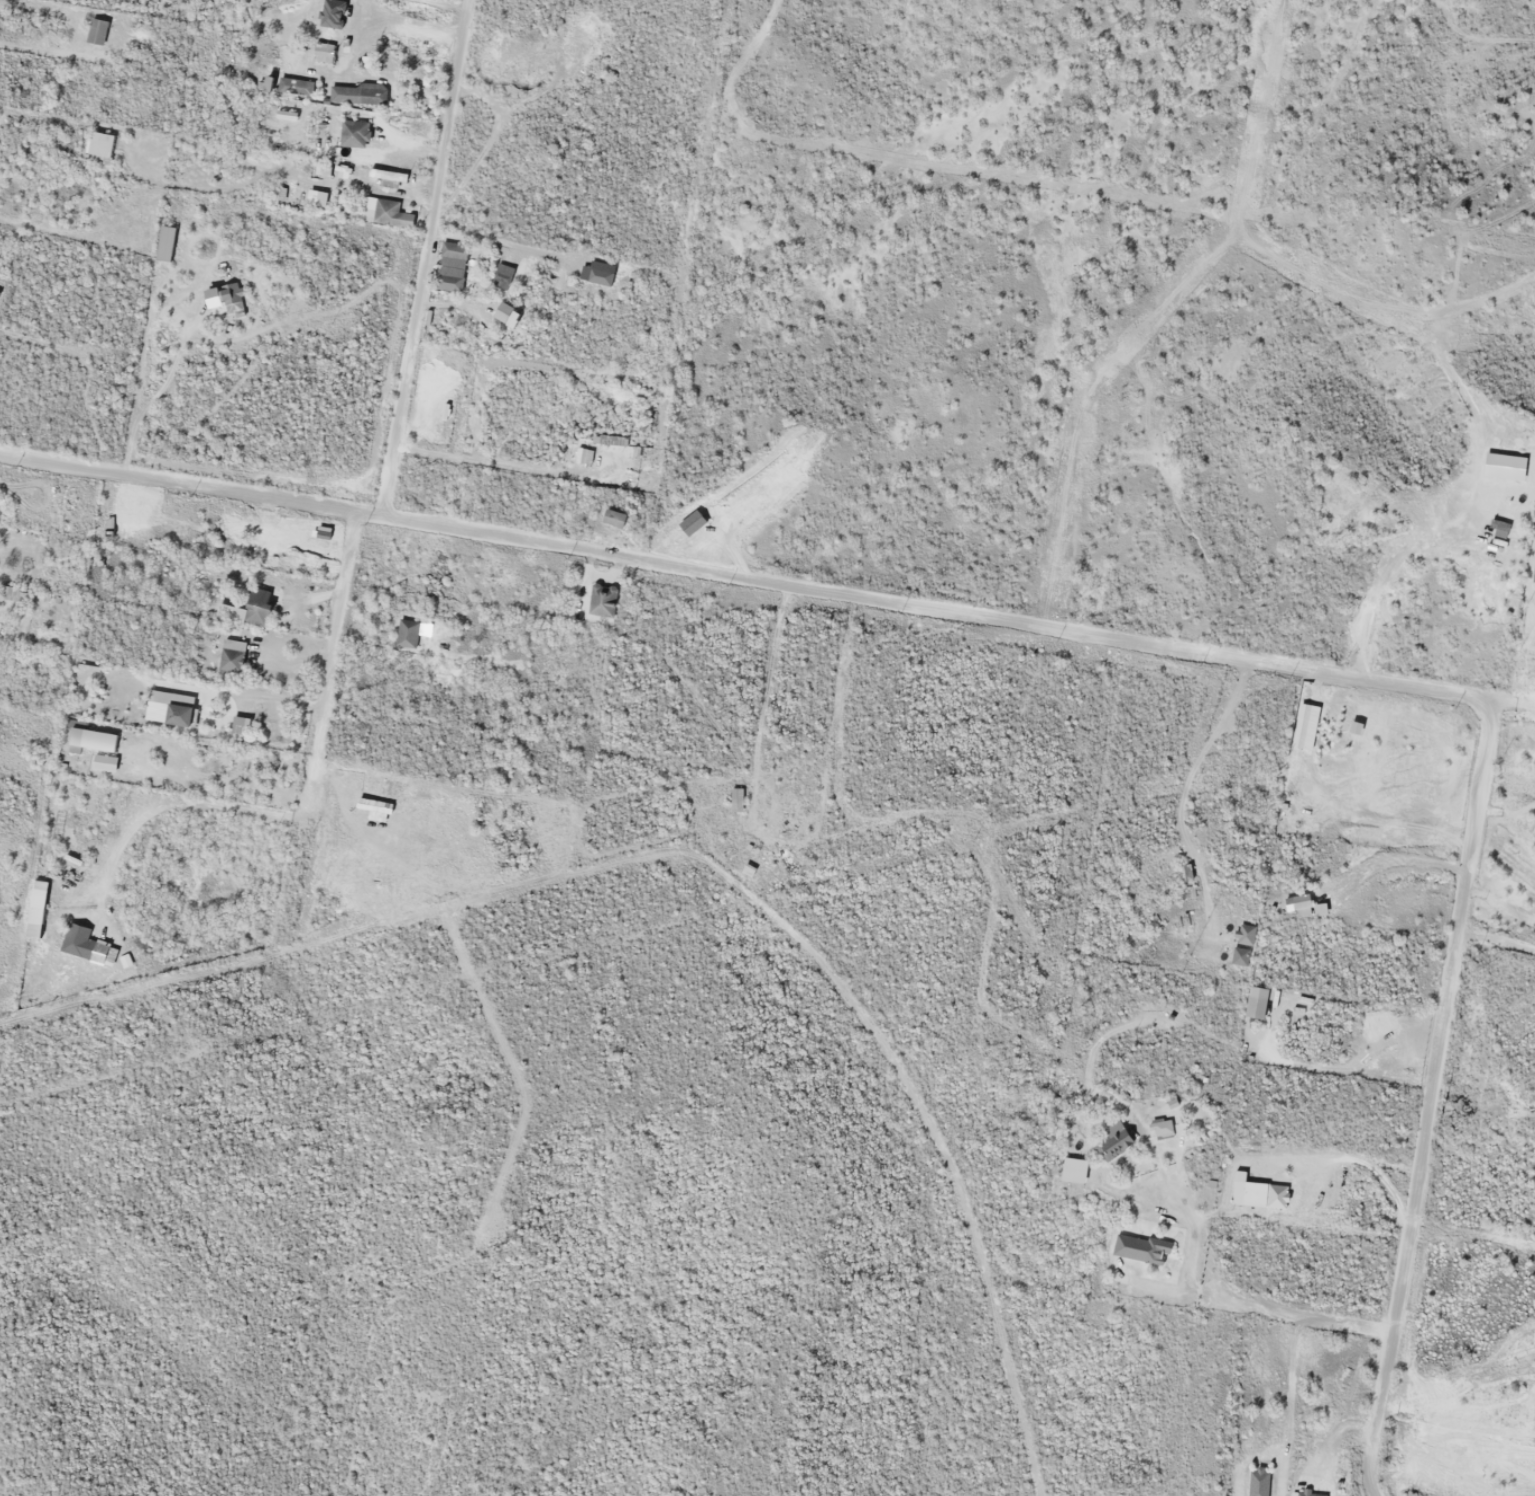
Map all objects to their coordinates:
building: (96, 31)
building: (269, 77)
building: (355, 93)
building: (100, 147)
building: (387, 178)
building: (308, 197)
building: (382, 212)
building: (165, 243)
road: (420, 257)
building: (450, 267)
building: (599, 272)
building: (498, 279)
building: (232, 297)
building: (506, 313)
building: (613, 517)
building: (601, 600)
building: (247, 609)
building: (406, 632)
road: (1143, 644)
building: (230, 654)
road: (332, 654)
building: (239, 724)
building: (1303, 726)
building: (91, 740)
building: (104, 762)
building: (735, 799)
building: (35, 923)
building: (1162, 1127)
building: (1113, 1140)
road: (1150, 1172)

